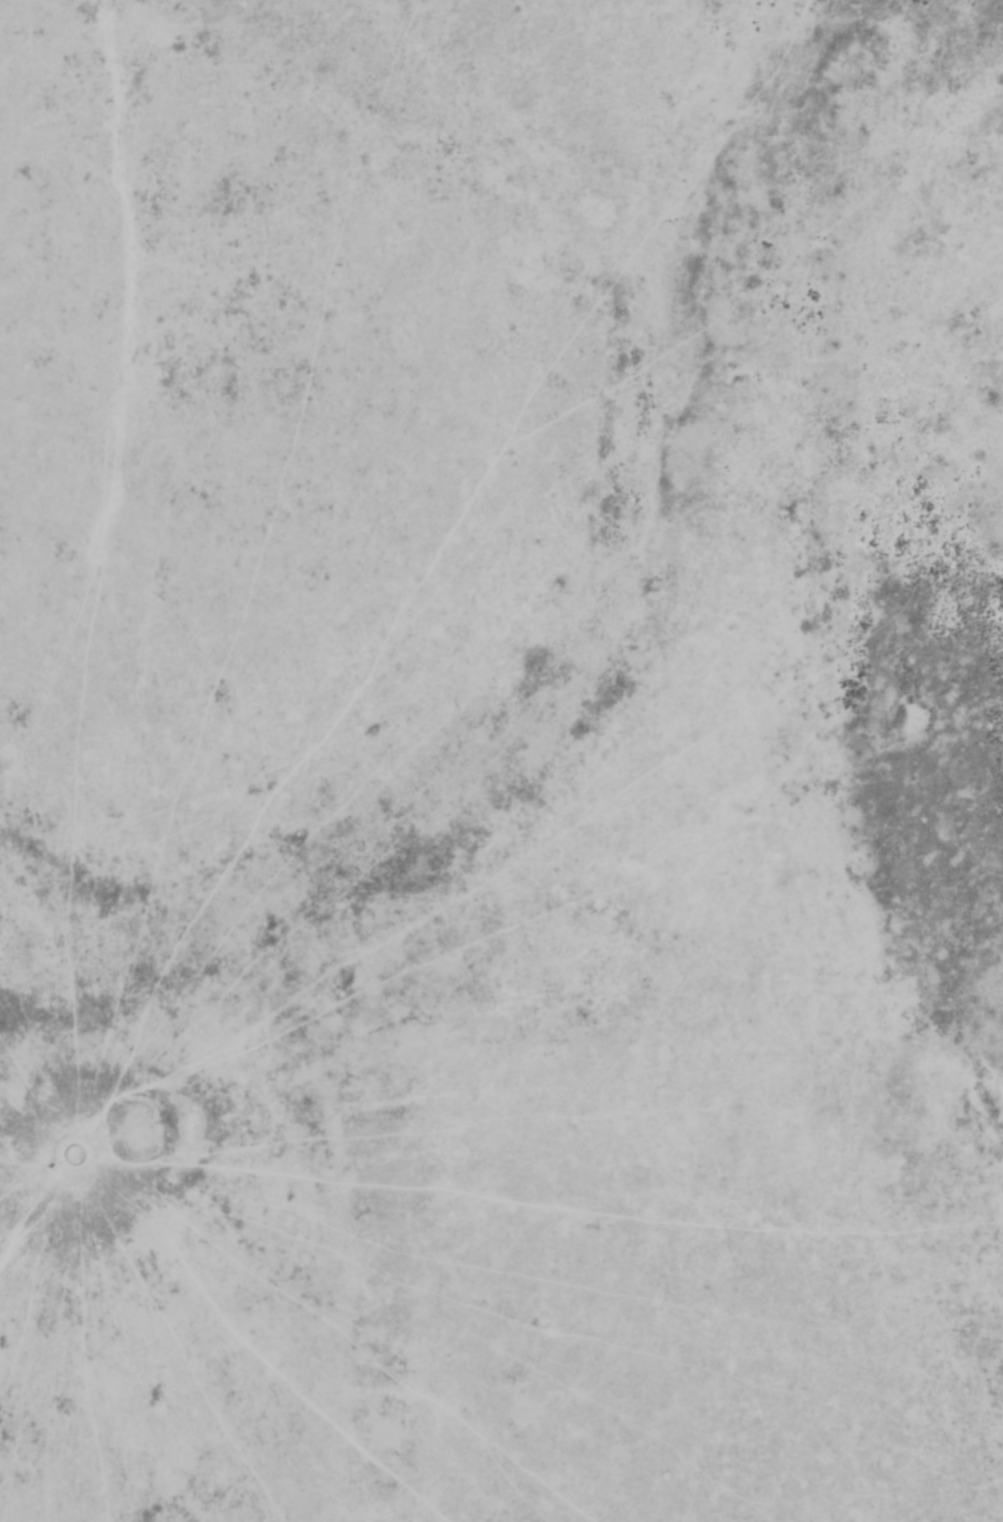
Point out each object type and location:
building: (72, 1154)
storage tank: (72, 1154)

